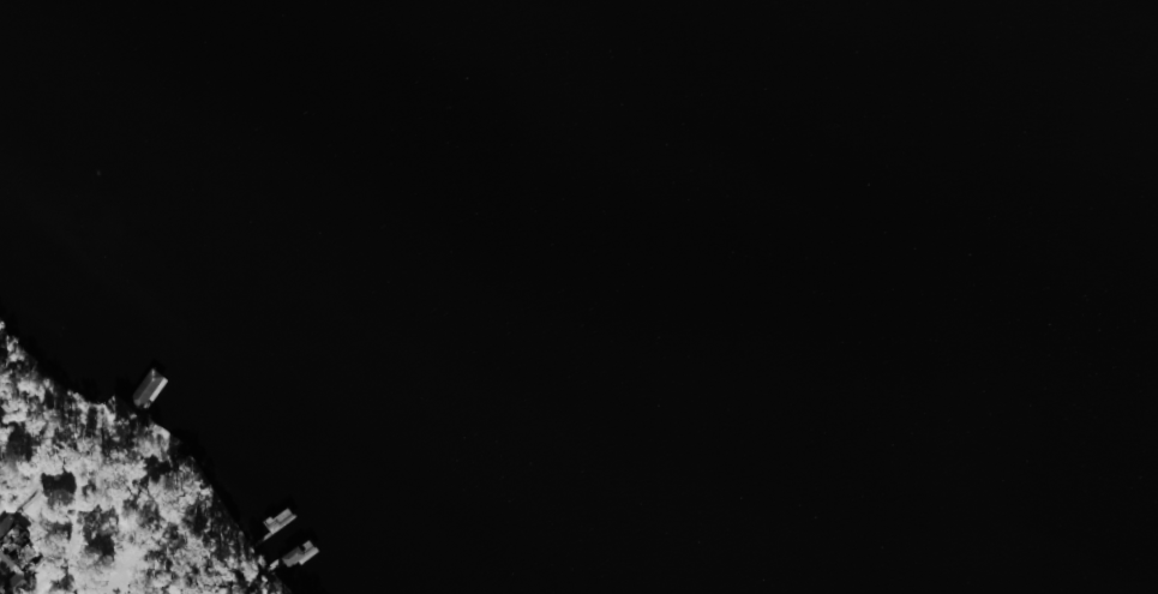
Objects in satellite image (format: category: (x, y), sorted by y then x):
river: (990, 124)
building: (37, 548)

